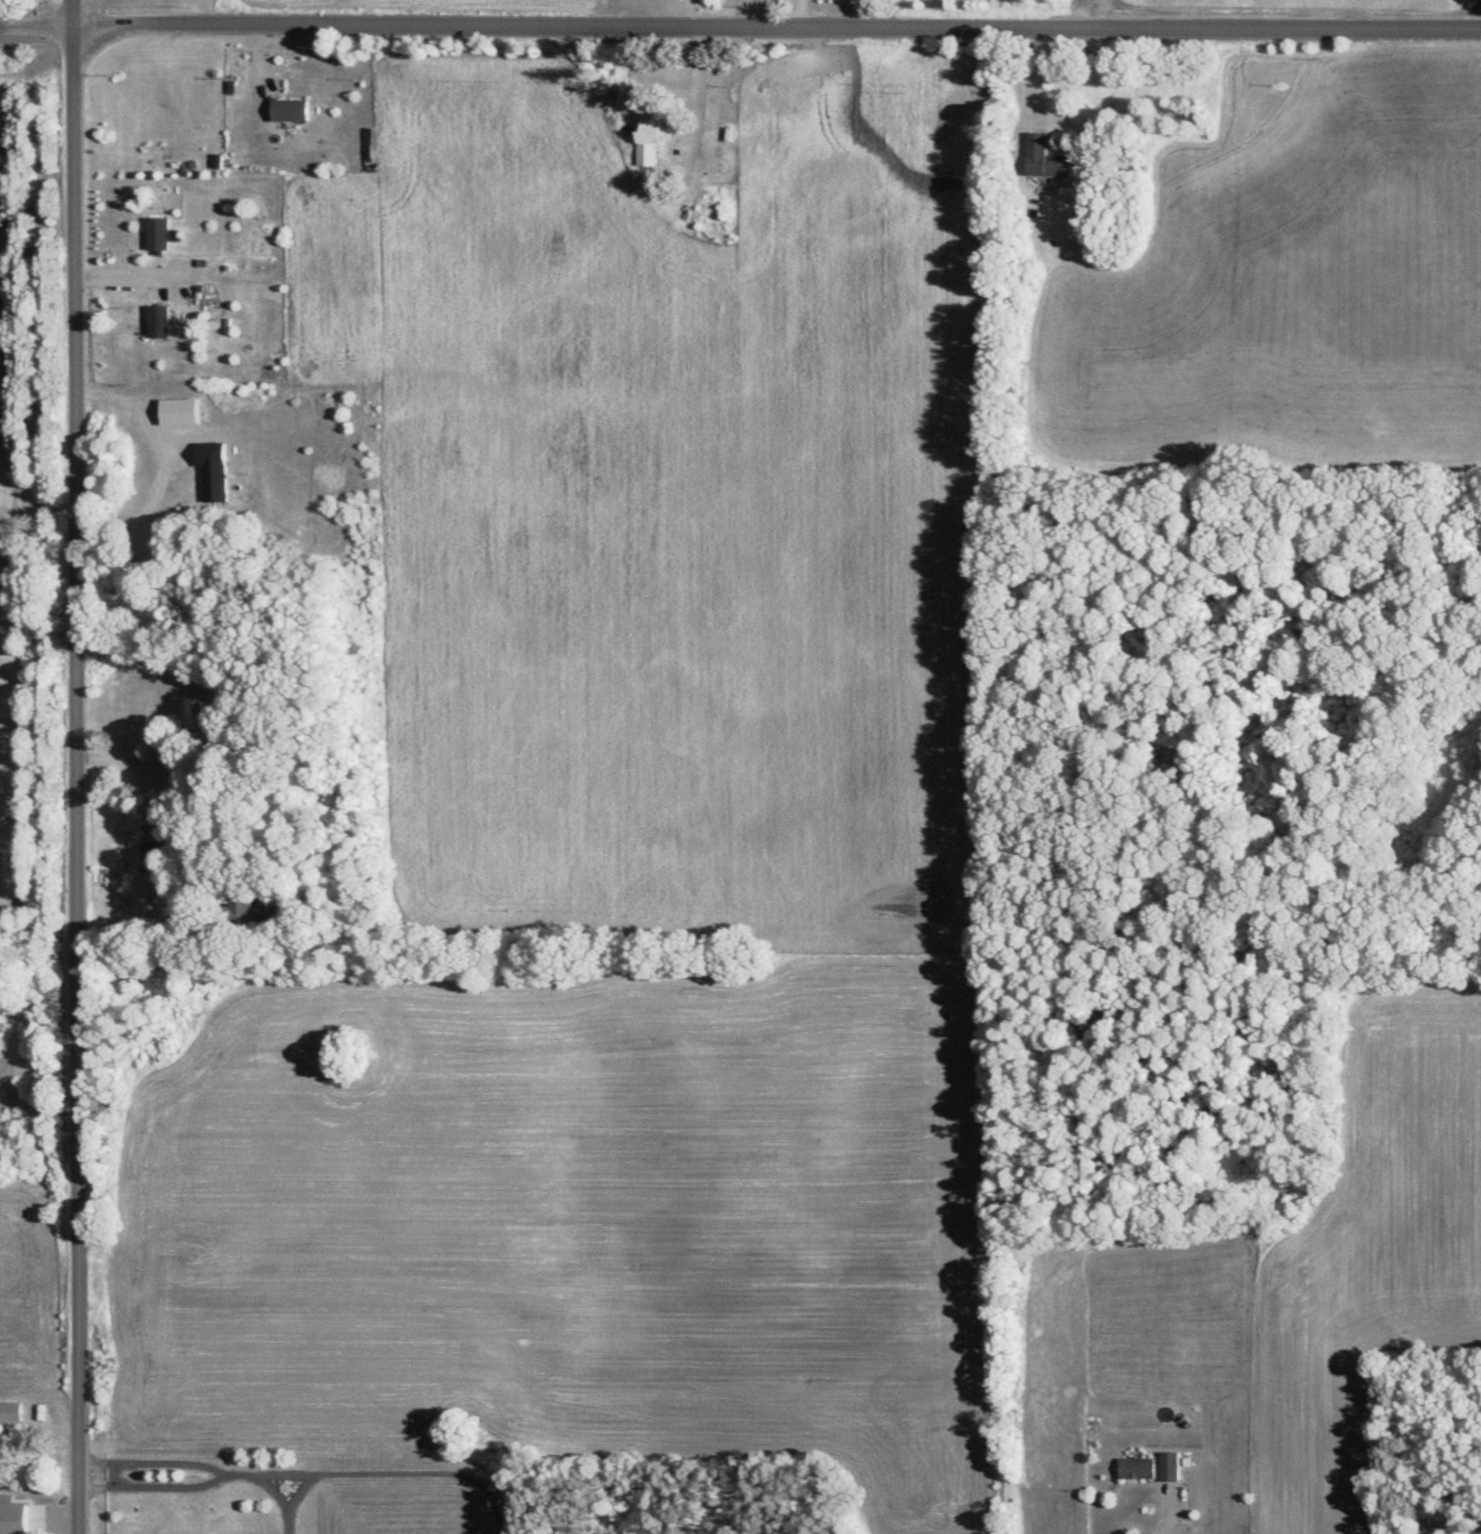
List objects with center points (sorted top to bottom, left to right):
road: (690, 12)
road: (801, 12)
road: (740, 24)
road: (1029, 79)
road: (699, 88)
building: (287, 111)
building: (644, 143)
building: (1038, 159)
building: (155, 237)
road: (127, 274)
building: (155, 322)
road: (166, 459)
building: (194, 716)
road: (133, 759)
road: (76, 766)
road: (163, 932)
building: (1166, 1467)
building: (1134, 1469)
road: (1165, 1513)
building: (6, 1527)

